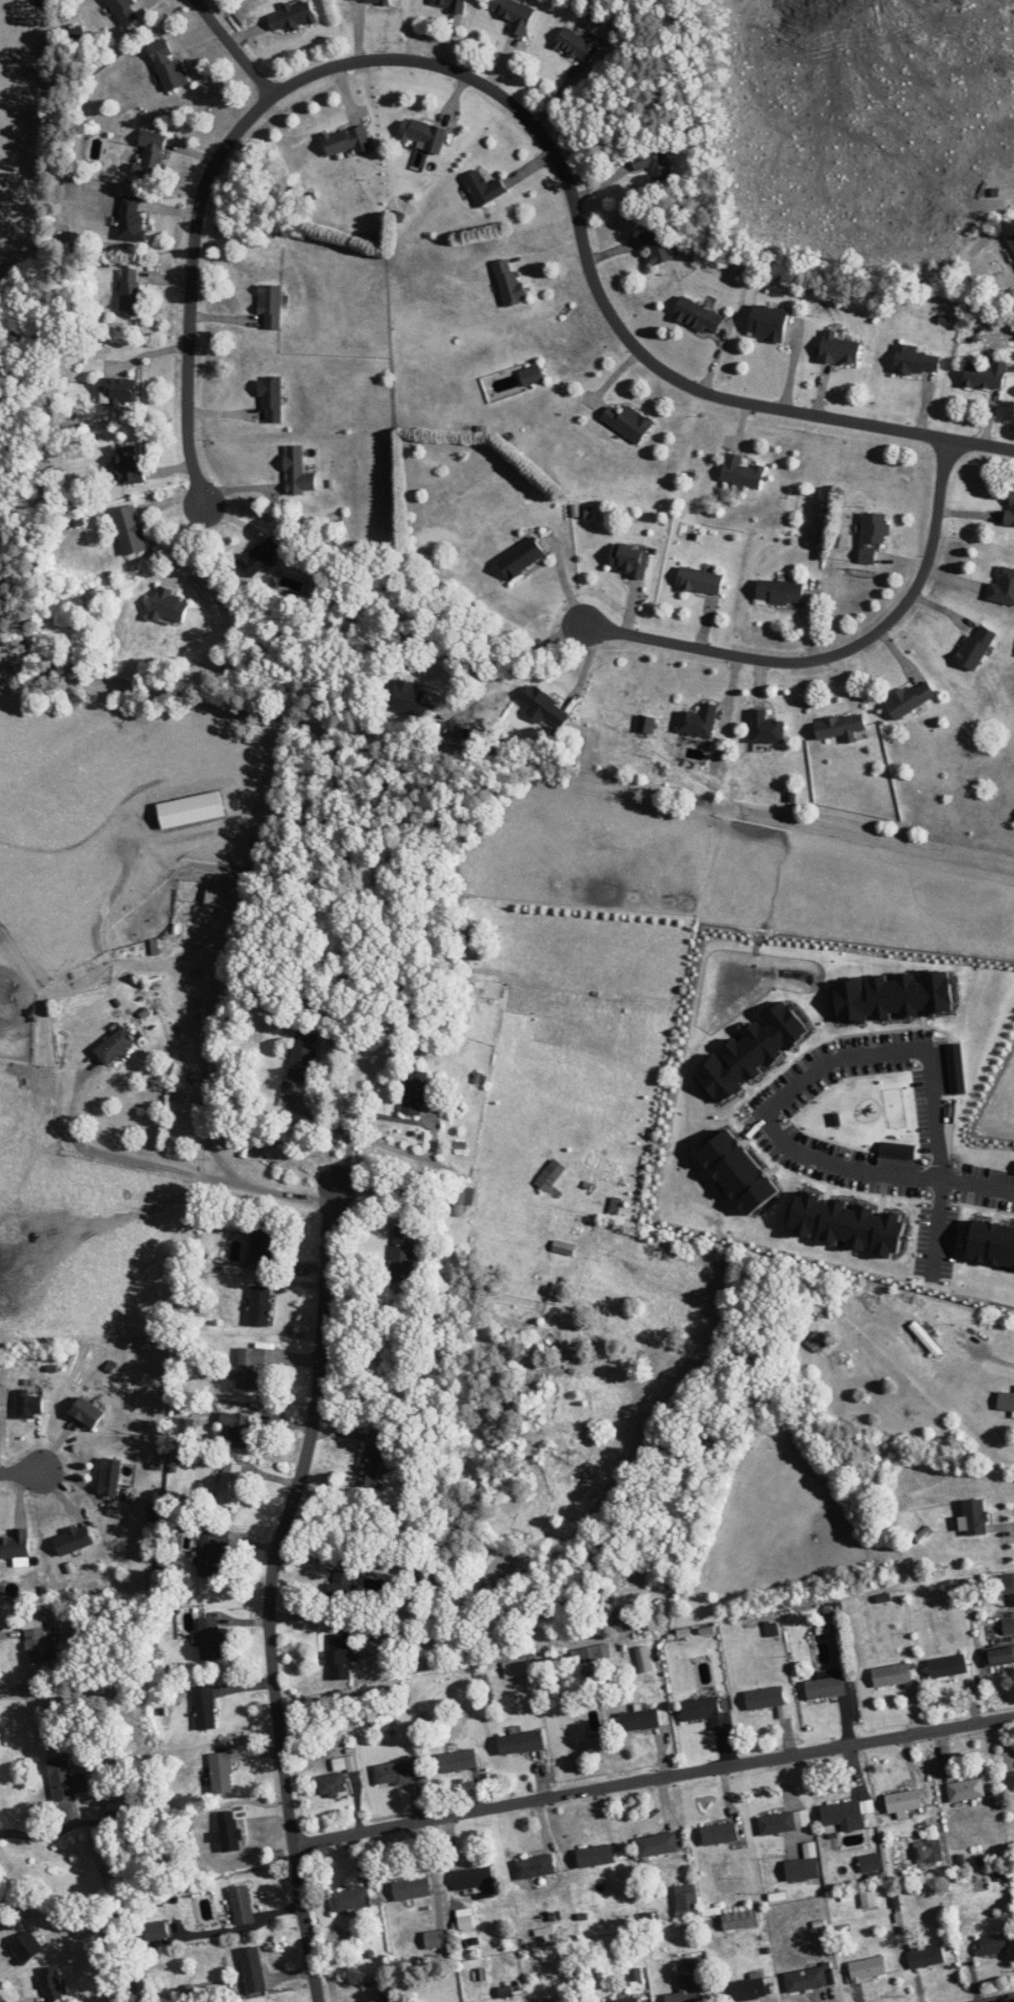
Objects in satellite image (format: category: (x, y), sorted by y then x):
building: (370, 1)
building: (449, 4)
building: (125, 11)
building: (515, 14)
building: (292, 16)
building: (579, 44)
road: (234, 48)
building: (168, 66)
road: (503, 98)
building: (422, 134)
building: (348, 140)
building: (151, 152)
building: (653, 163)
building: (484, 187)
building: (131, 220)
building: (1012, 240)
building: (656, 247)
building: (509, 282)
building: (131, 292)
building: (271, 305)
building: (698, 316)
building: (768, 322)
building: (840, 349)
building: (916, 359)
building: (532, 375)
building: (986, 375)
building: (119, 389)
building: (271, 399)
building: (628, 422)
building: (128, 466)
building: (297, 472)
building: (741, 472)
building: (1010, 509)
building: (130, 530)
building: (872, 535)
building: (260, 556)
building: (521, 558)
building: (630, 559)
building: (700, 580)
building: (1003, 587)
building: (780, 592)
building: (169, 606)
building: (976, 646)
road: (836, 653)
road: (519, 661)
building: (911, 699)
building: (412, 700)
building: (544, 707)
building: (699, 721)
building: (646, 724)
building: (841, 727)
building: (766, 728)
building: (222, 899)
building: (115, 1046)
building: (303, 1056)
road: (807, 1074)
road: (202, 1081)
building: (414, 1092)
road: (360, 1120)
building: (899, 1149)
road: (173, 1168)
building: (746, 1171)
road: (977, 1184)
building: (849, 1222)
road: (936, 1228)
building: (995, 1241)
building: (261, 1242)
building: (563, 1247)
building: (402, 1252)
building: (259, 1306)
building: (926, 1338)
building: (816, 1341)
road: (999, 1354)
building: (249, 1367)
building: (1006, 1401)
building: (87, 1411)
building: (238, 1428)
building: (370, 1466)
road: (21, 1471)
building: (109, 1475)
building: (229, 1485)
building: (973, 1518)
building: (73, 1539)
building: (15, 1544)
building: (213, 1556)
building: (1007, 1583)
building: (340, 1584)
road: (272, 1590)
building: (624, 1619)
building: (1008, 1626)
building: (208, 1629)
building: (39, 1640)
building: (587, 1654)
building: (999, 1655)
building: (338, 1656)
building: (642, 1659)
building: (947, 1666)
building: (892, 1675)
building: (826, 1685)
building: (765, 1698)
building: (205, 1707)
building: (707, 1712)
building: (640, 1719)
building: (521, 1742)
building: (458, 1761)
building: (221, 1773)
building: (395, 1773)
building: (336, 1776)
building: (65, 1778)
road: (653, 1780)
building: (1011, 1780)
building: (966, 1789)
building: (904, 1801)
building: (844, 1815)
building: (777, 1823)
building: (720, 1833)
road: (40, 1837)
building: (657, 1844)
building: (596, 1856)
building: (871, 1862)
building: (804, 1865)
building: (535, 1866)
building: (473, 1878)
building: (412, 1889)
building: (868, 1899)
building: (350, 1900)
building: (687, 1900)
building: (242, 1905)
building: (740, 1920)
building: (156, 1931)
building: (436, 1939)
building: (991, 1945)
building: (925, 1955)
building: (253, 1970)
building: (865, 1970)
building: (808, 1978)
building: (686, 1990)
building: (746, 1990)
road: (1002, 1999)
building: (627, 2000)

